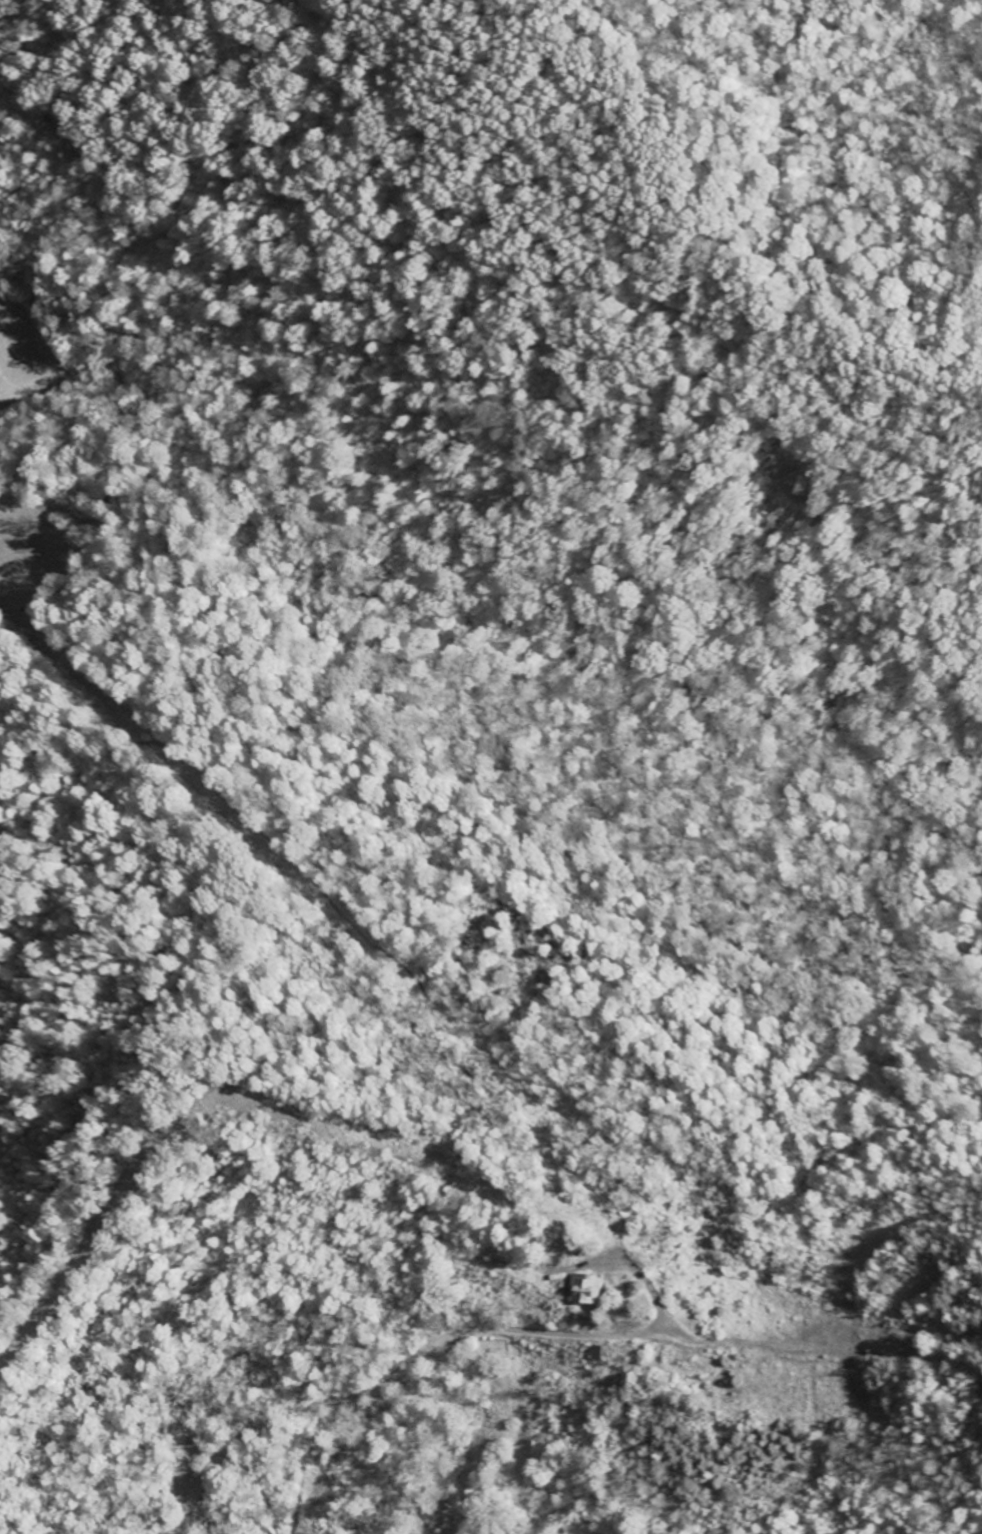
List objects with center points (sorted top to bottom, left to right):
road: (374, 179)
road: (418, 579)
building: (589, 1292)
road: (396, 1374)
road: (256, 1488)

